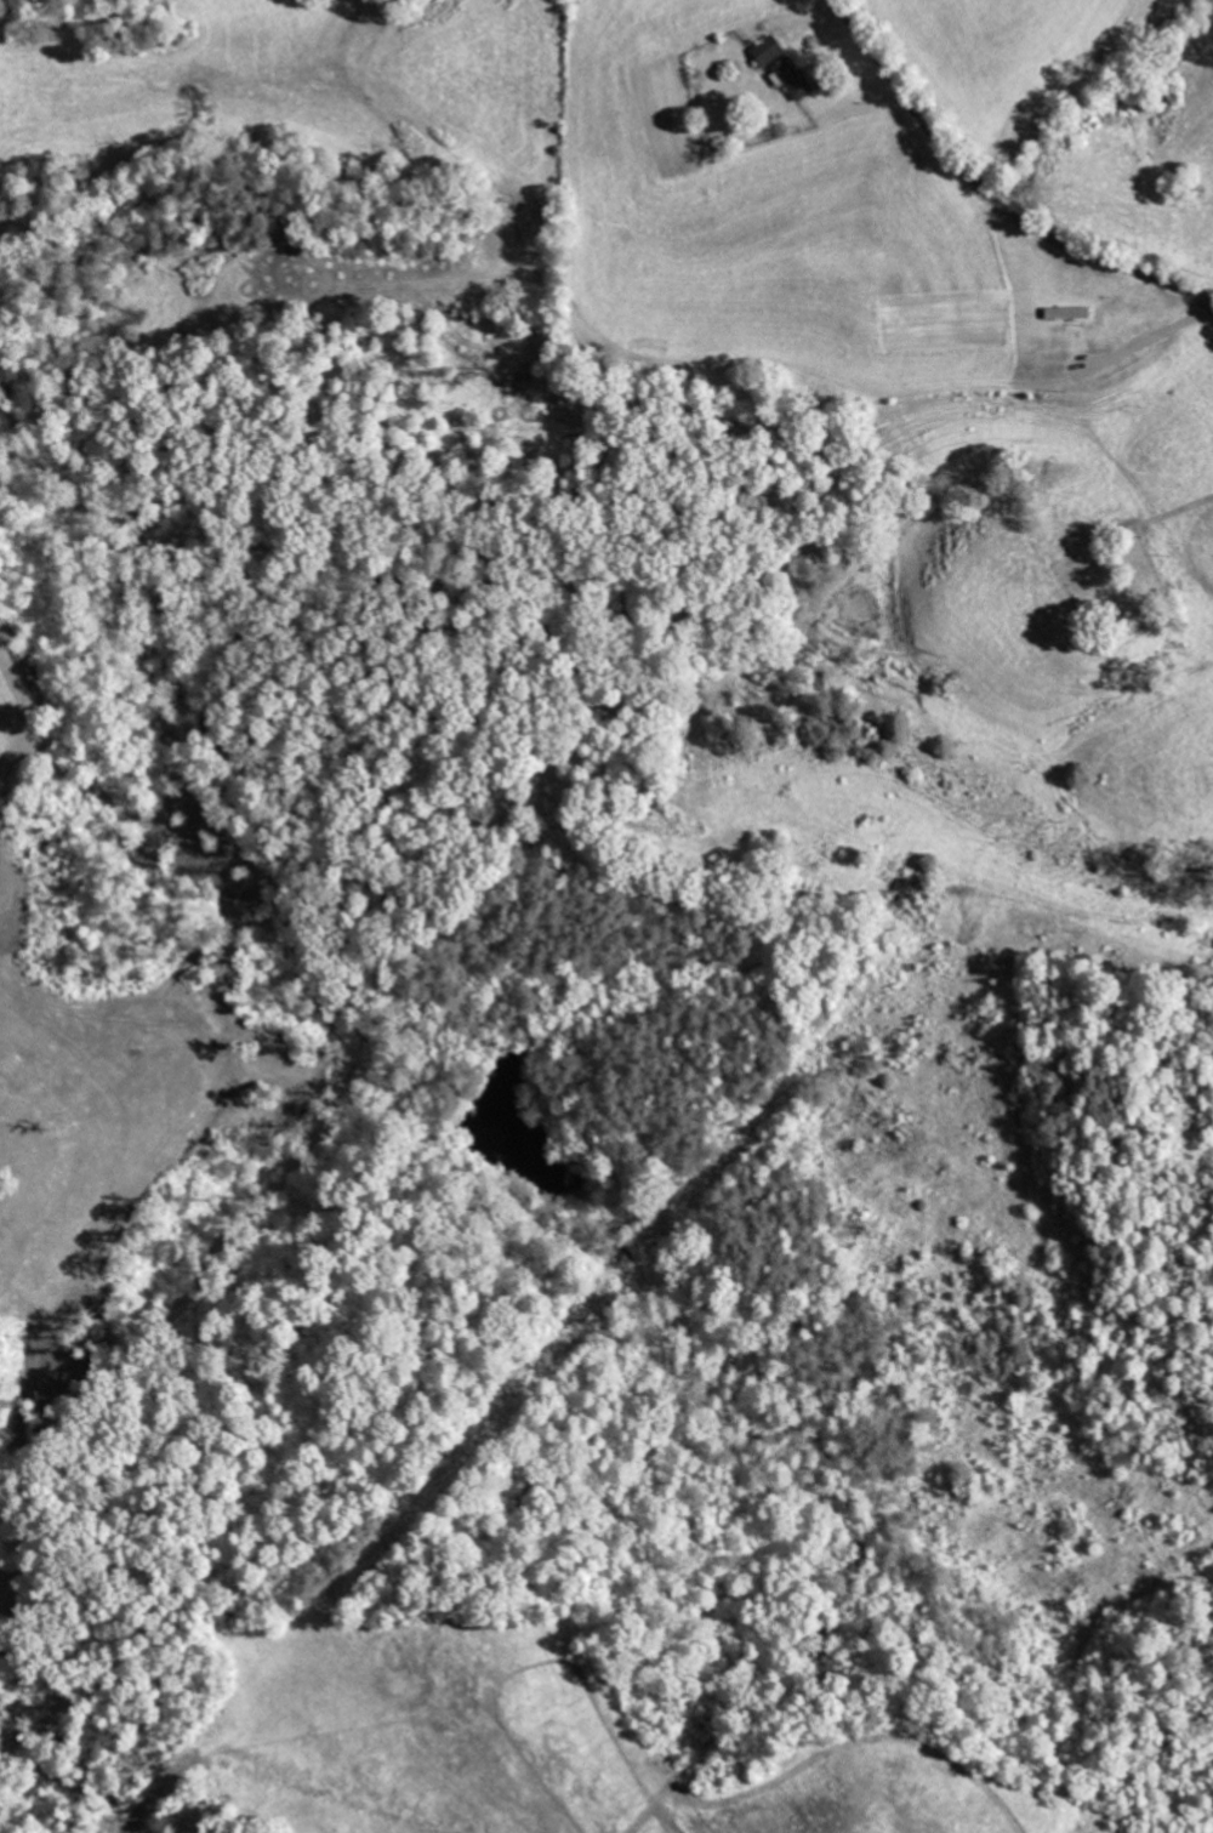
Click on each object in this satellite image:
building: (765, 50)
building: (786, 80)
road: (989, 195)

